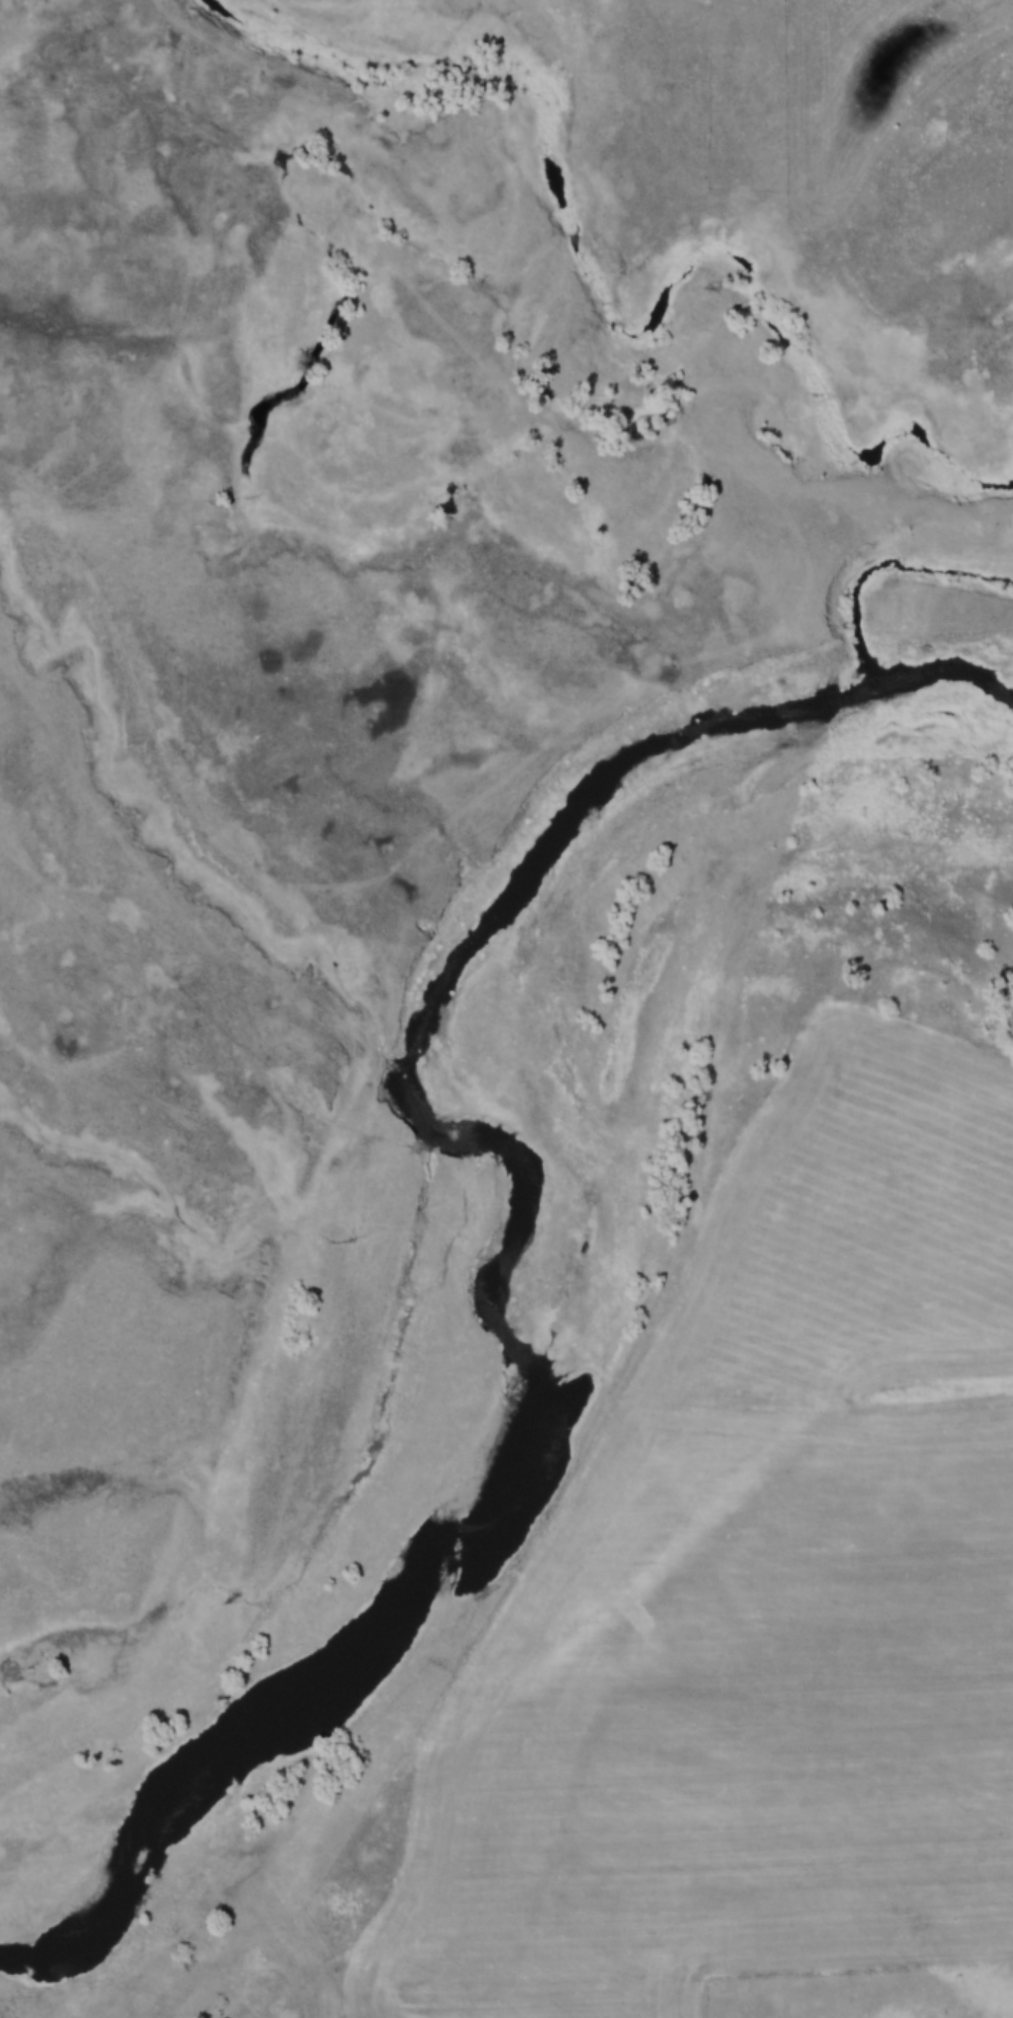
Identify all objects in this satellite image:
river: (521, 1215)

